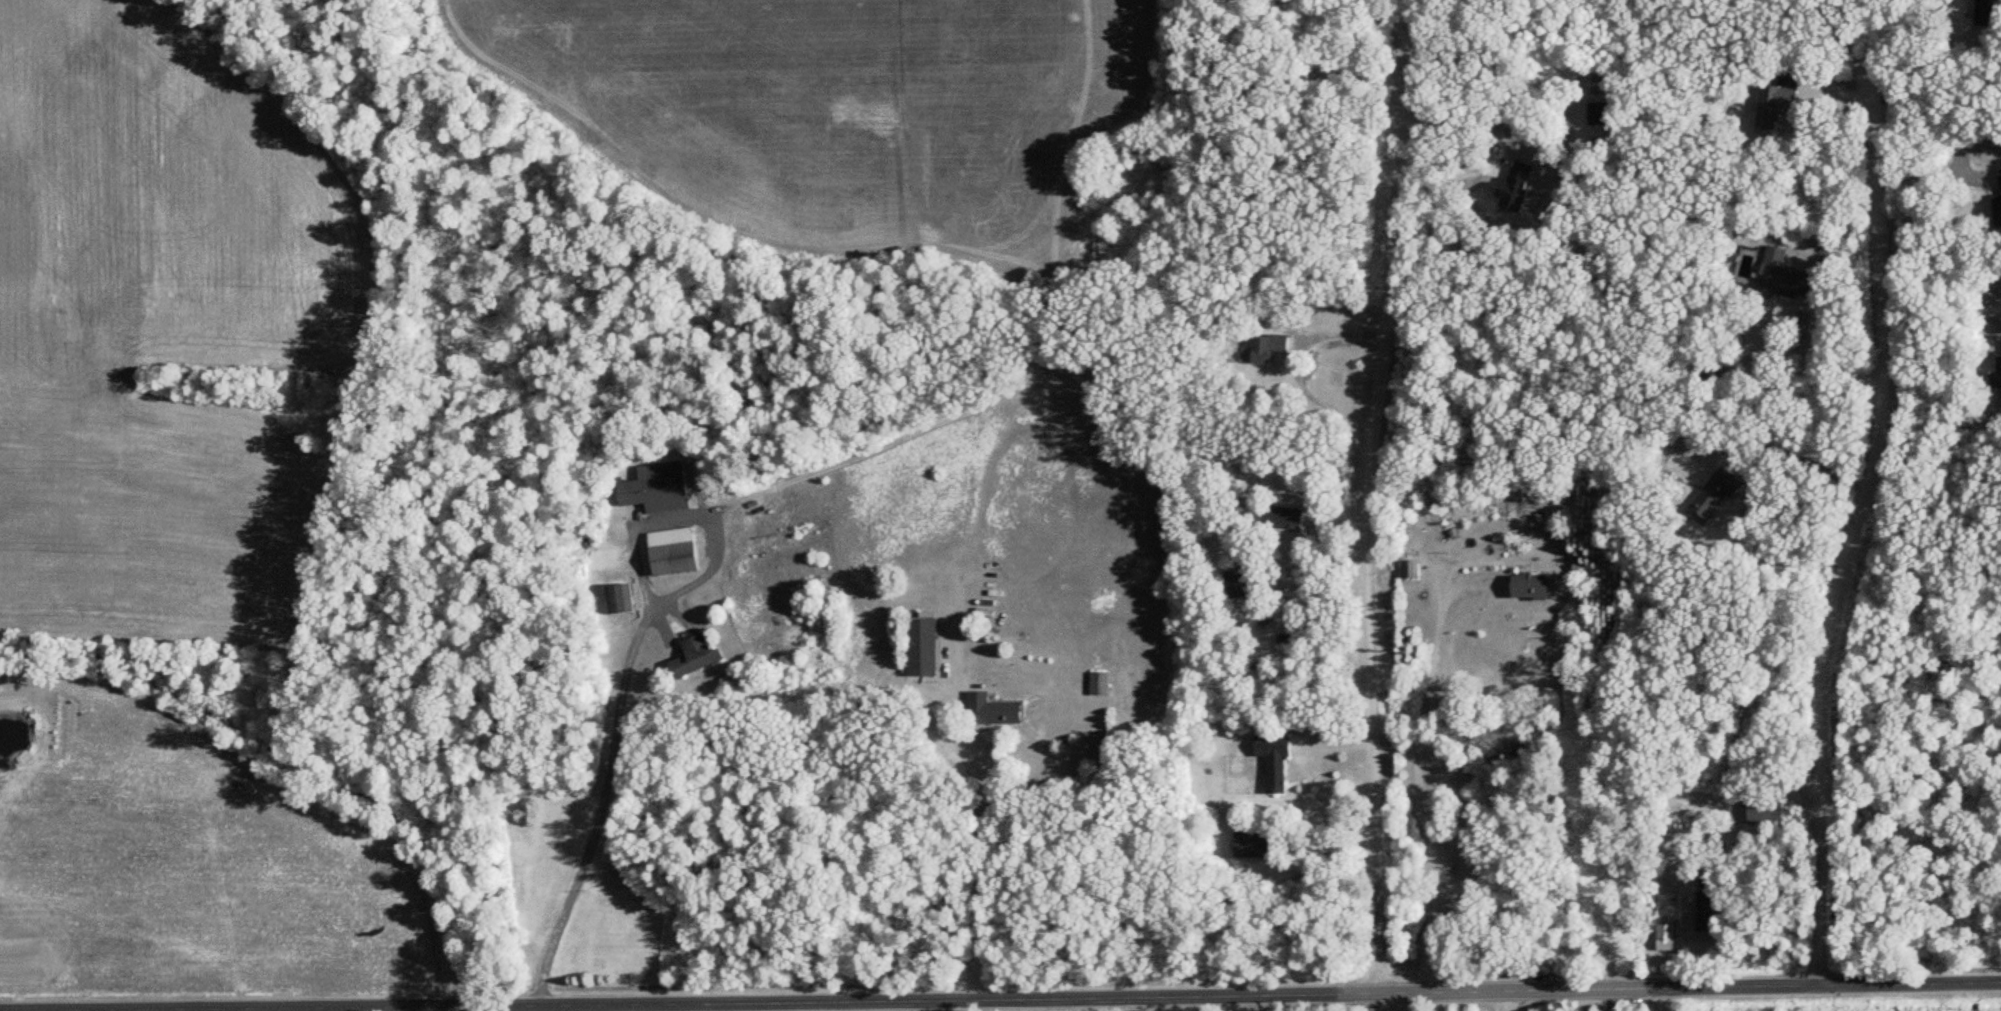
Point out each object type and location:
road: (1936, 10)
building: (1984, 13)
road: (1844, 35)
road: (1899, 39)
road: (1431, 43)
building: (1772, 107)
building: (1601, 113)
road: (1497, 145)
road: (1928, 167)
building: (1997, 205)
building: (1785, 276)
road: (1929, 306)
building: (1267, 347)
road: (1296, 366)
road: (1815, 366)
building: (1708, 368)
building: (1996, 375)
road: (1813, 454)
building: (656, 488)
road: (1367, 490)
building: (1282, 517)
road: (1852, 531)
building: (671, 551)
building: (1409, 569)
building: (1236, 584)
road: (1311, 585)
building: (1528, 586)
building: (619, 599)
building: (921, 648)
building: (694, 656)
road: (629, 665)
building: (1098, 684)
building: (991, 711)
building: (1273, 761)
road: (1419, 778)
building: (1764, 813)
building: (1253, 844)
road: (979, 865)
building: (1705, 912)
building: (1666, 938)
road: (1008, 999)
road: (1508, 1000)
road: (1400, 1001)
road: (1171, 1003)
road: (471, 1008)
road: (106, 1010)

